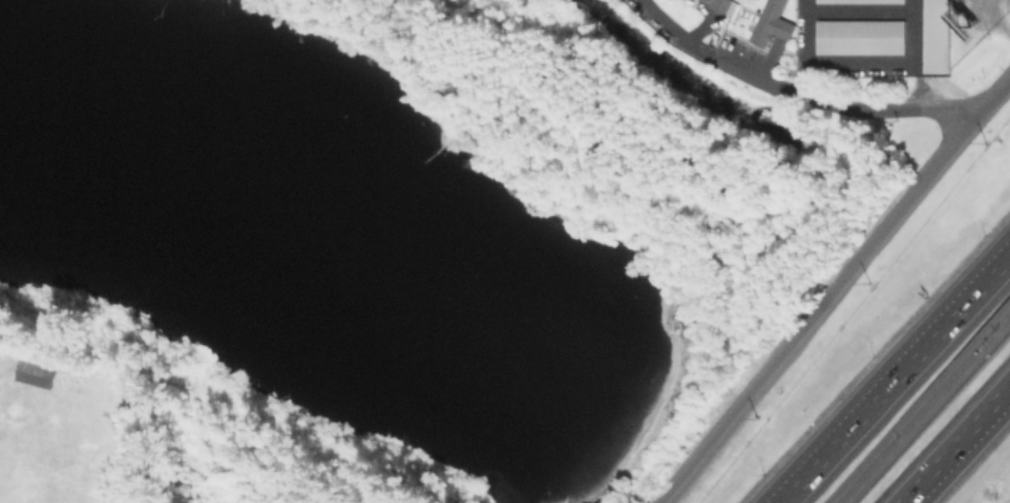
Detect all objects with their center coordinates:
building: (860, 2)
building: (712, 4)
building: (770, 23)
road: (672, 33)
building: (941, 38)
building: (859, 39)
road: (719, 60)
road: (846, 107)
road: (835, 291)
building: (33, 372)
road: (897, 381)
railway: (919, 405)
railway: (926, 413)
road: (951, 439)

